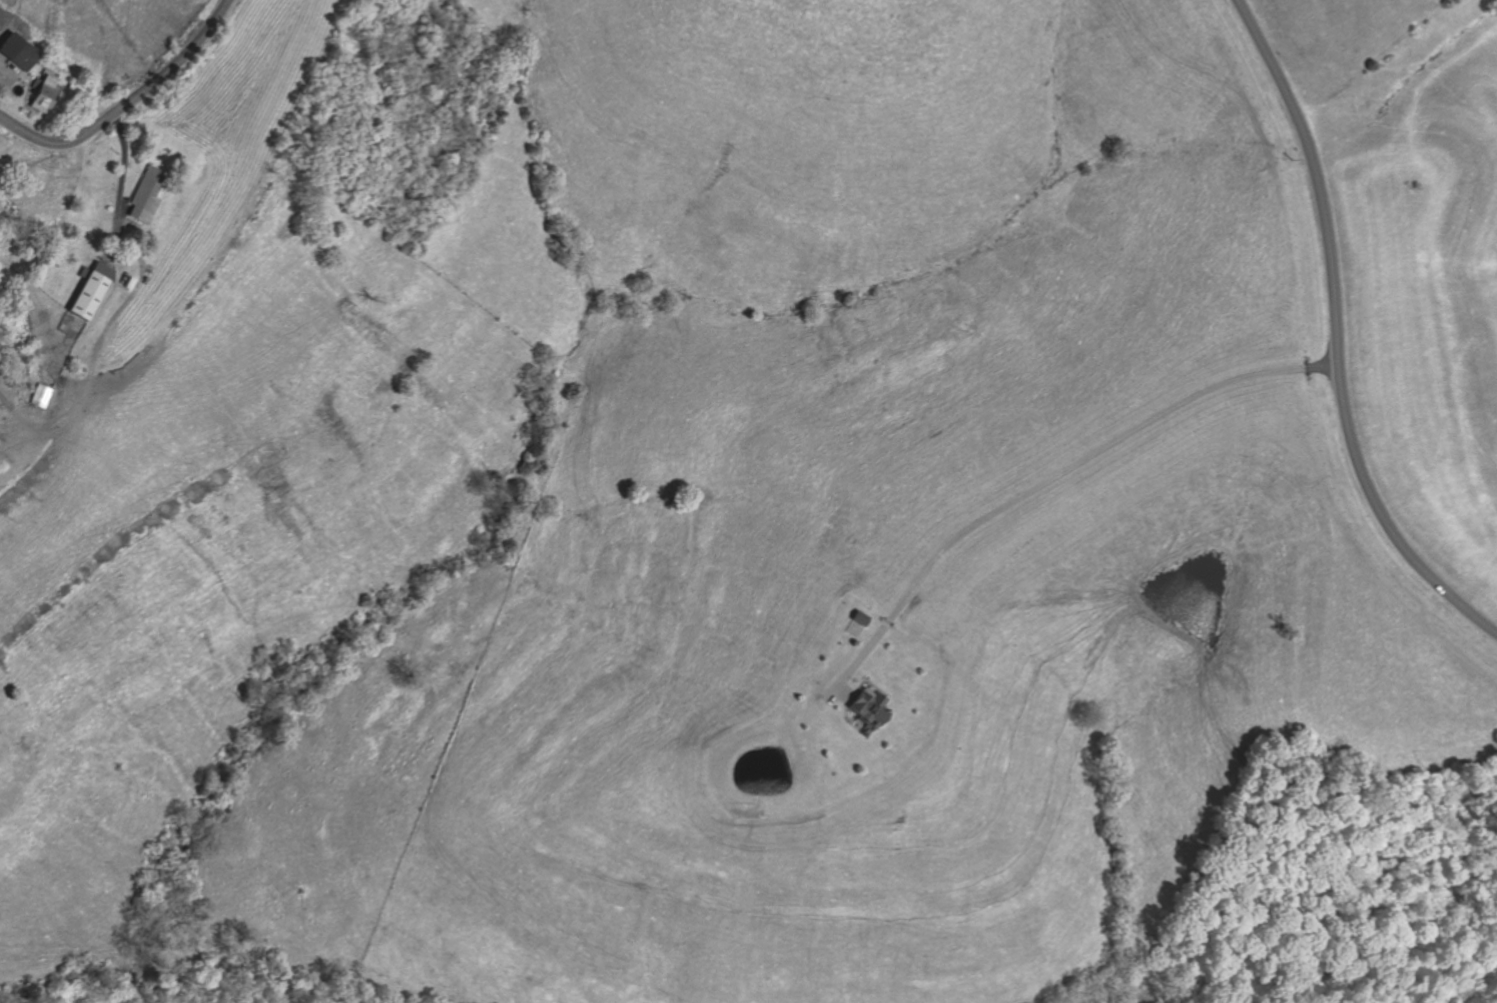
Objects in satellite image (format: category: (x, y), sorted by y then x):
road: (4, 43)
building: (19, 56)
road: (8, 70)
road: (22, 78)
building: (39, 93)
road: (21, 95)
road: (125, 102)
road: (119, 188)
building: (143, 195)
building: (127, 283)
building: (87, 289)
road: (1335, 335)
road: (91, 361)
building: (38, 396)
road: (13, 429)
road: (1049, 478)
building: (859, 619)
road: (866, 680)
road: (845, 693)
building: (868, 707)

